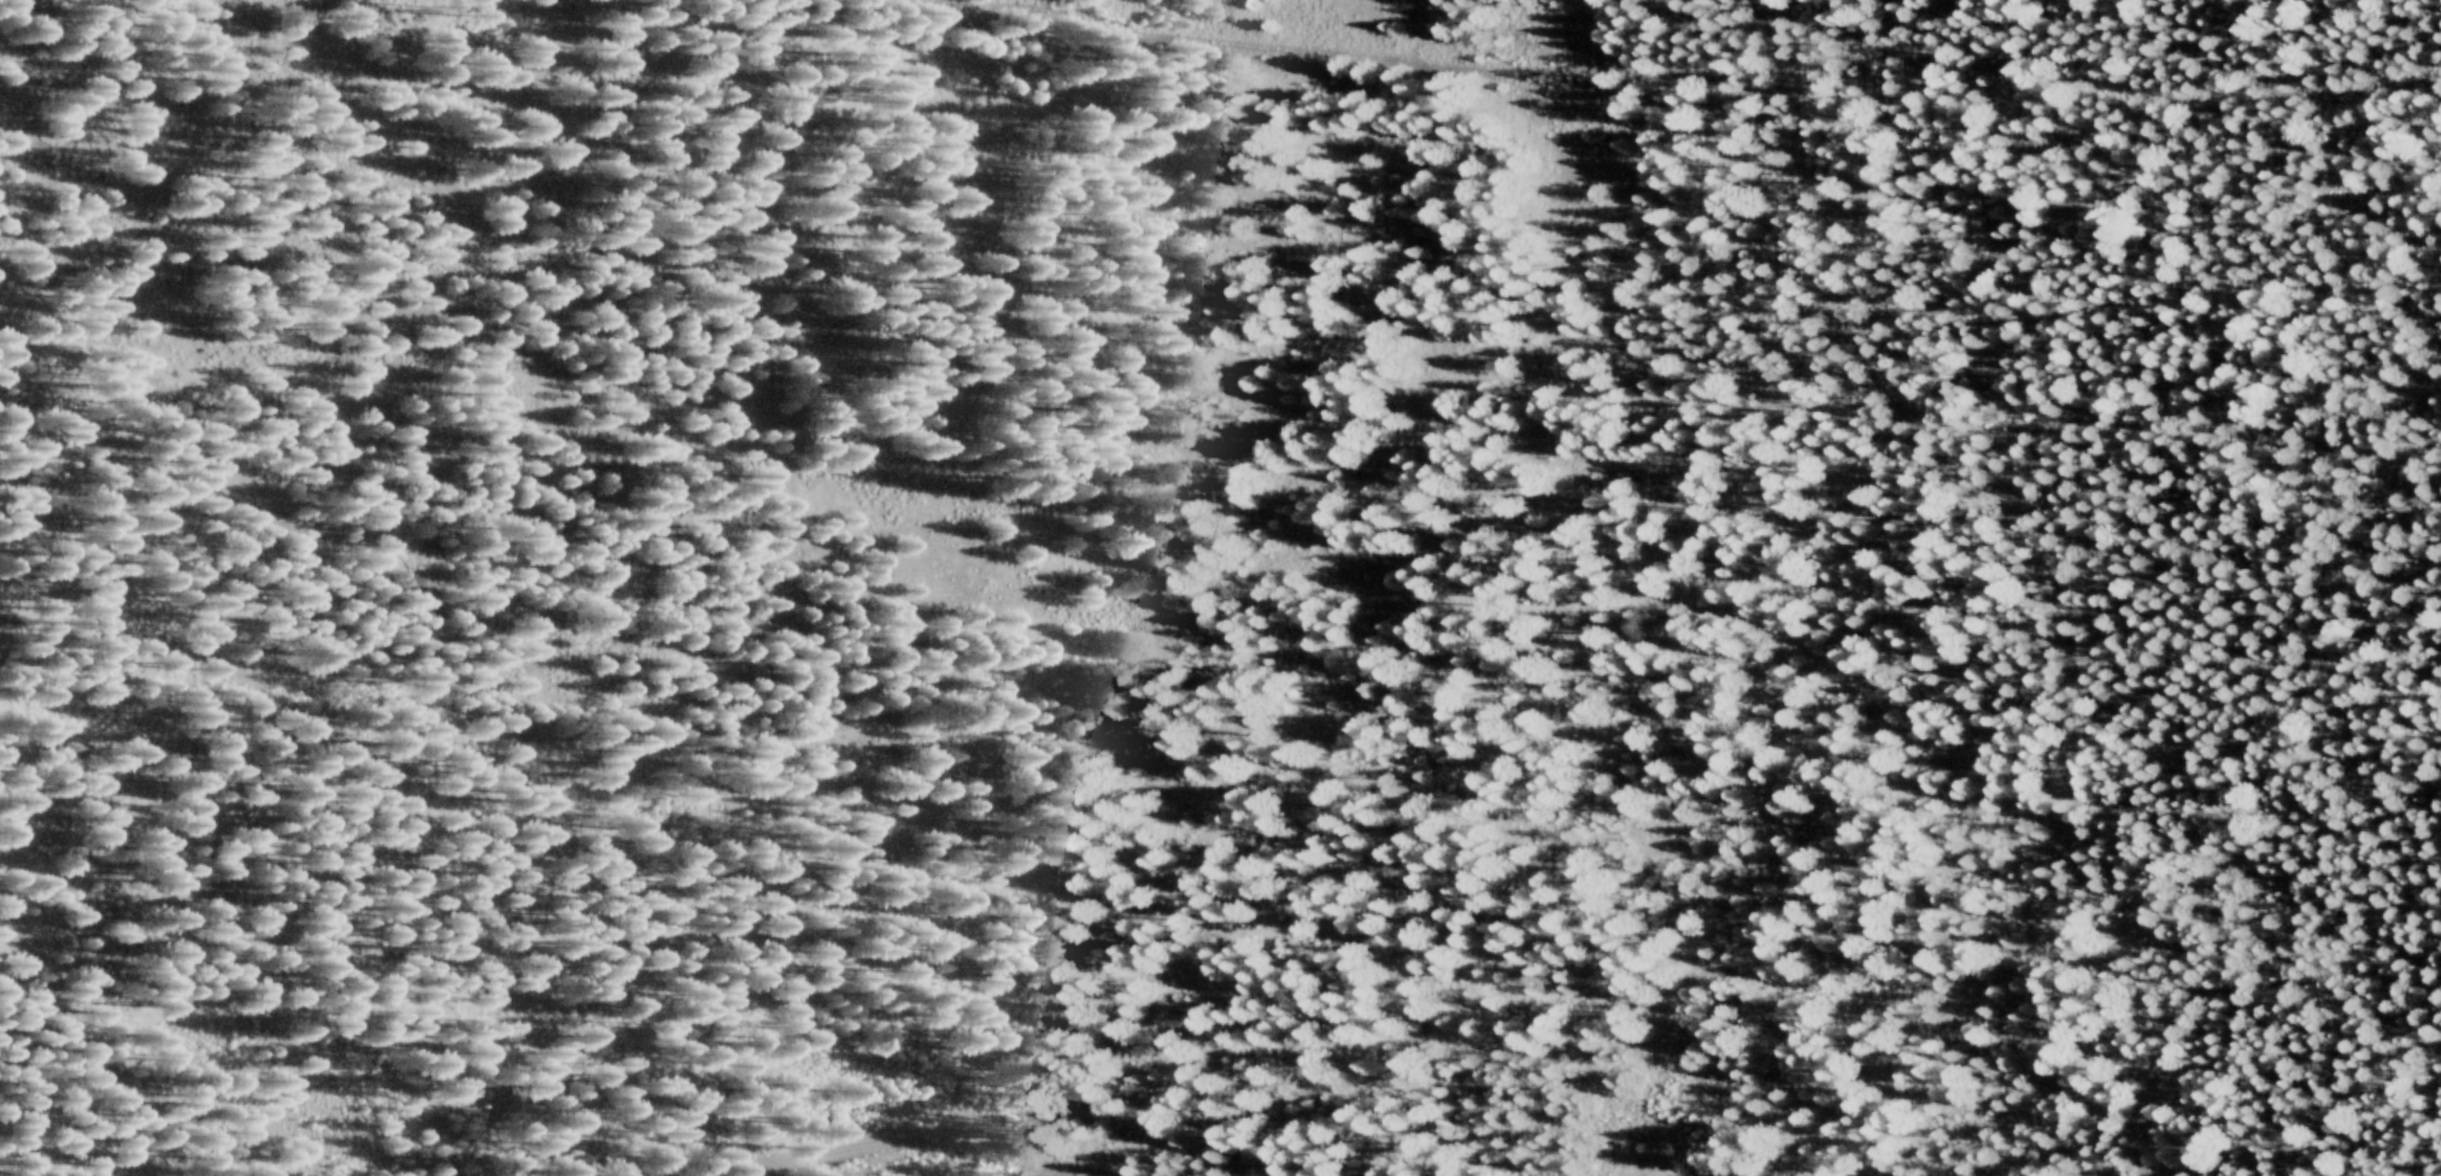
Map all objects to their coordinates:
road: (962, 1137)

